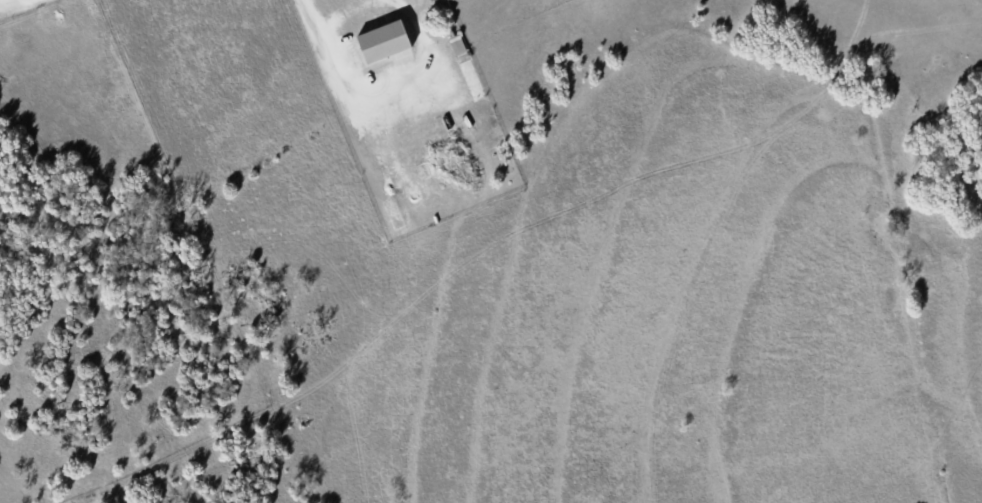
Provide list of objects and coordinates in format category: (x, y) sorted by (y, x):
building: (387, 40)
road: (381, 83)

